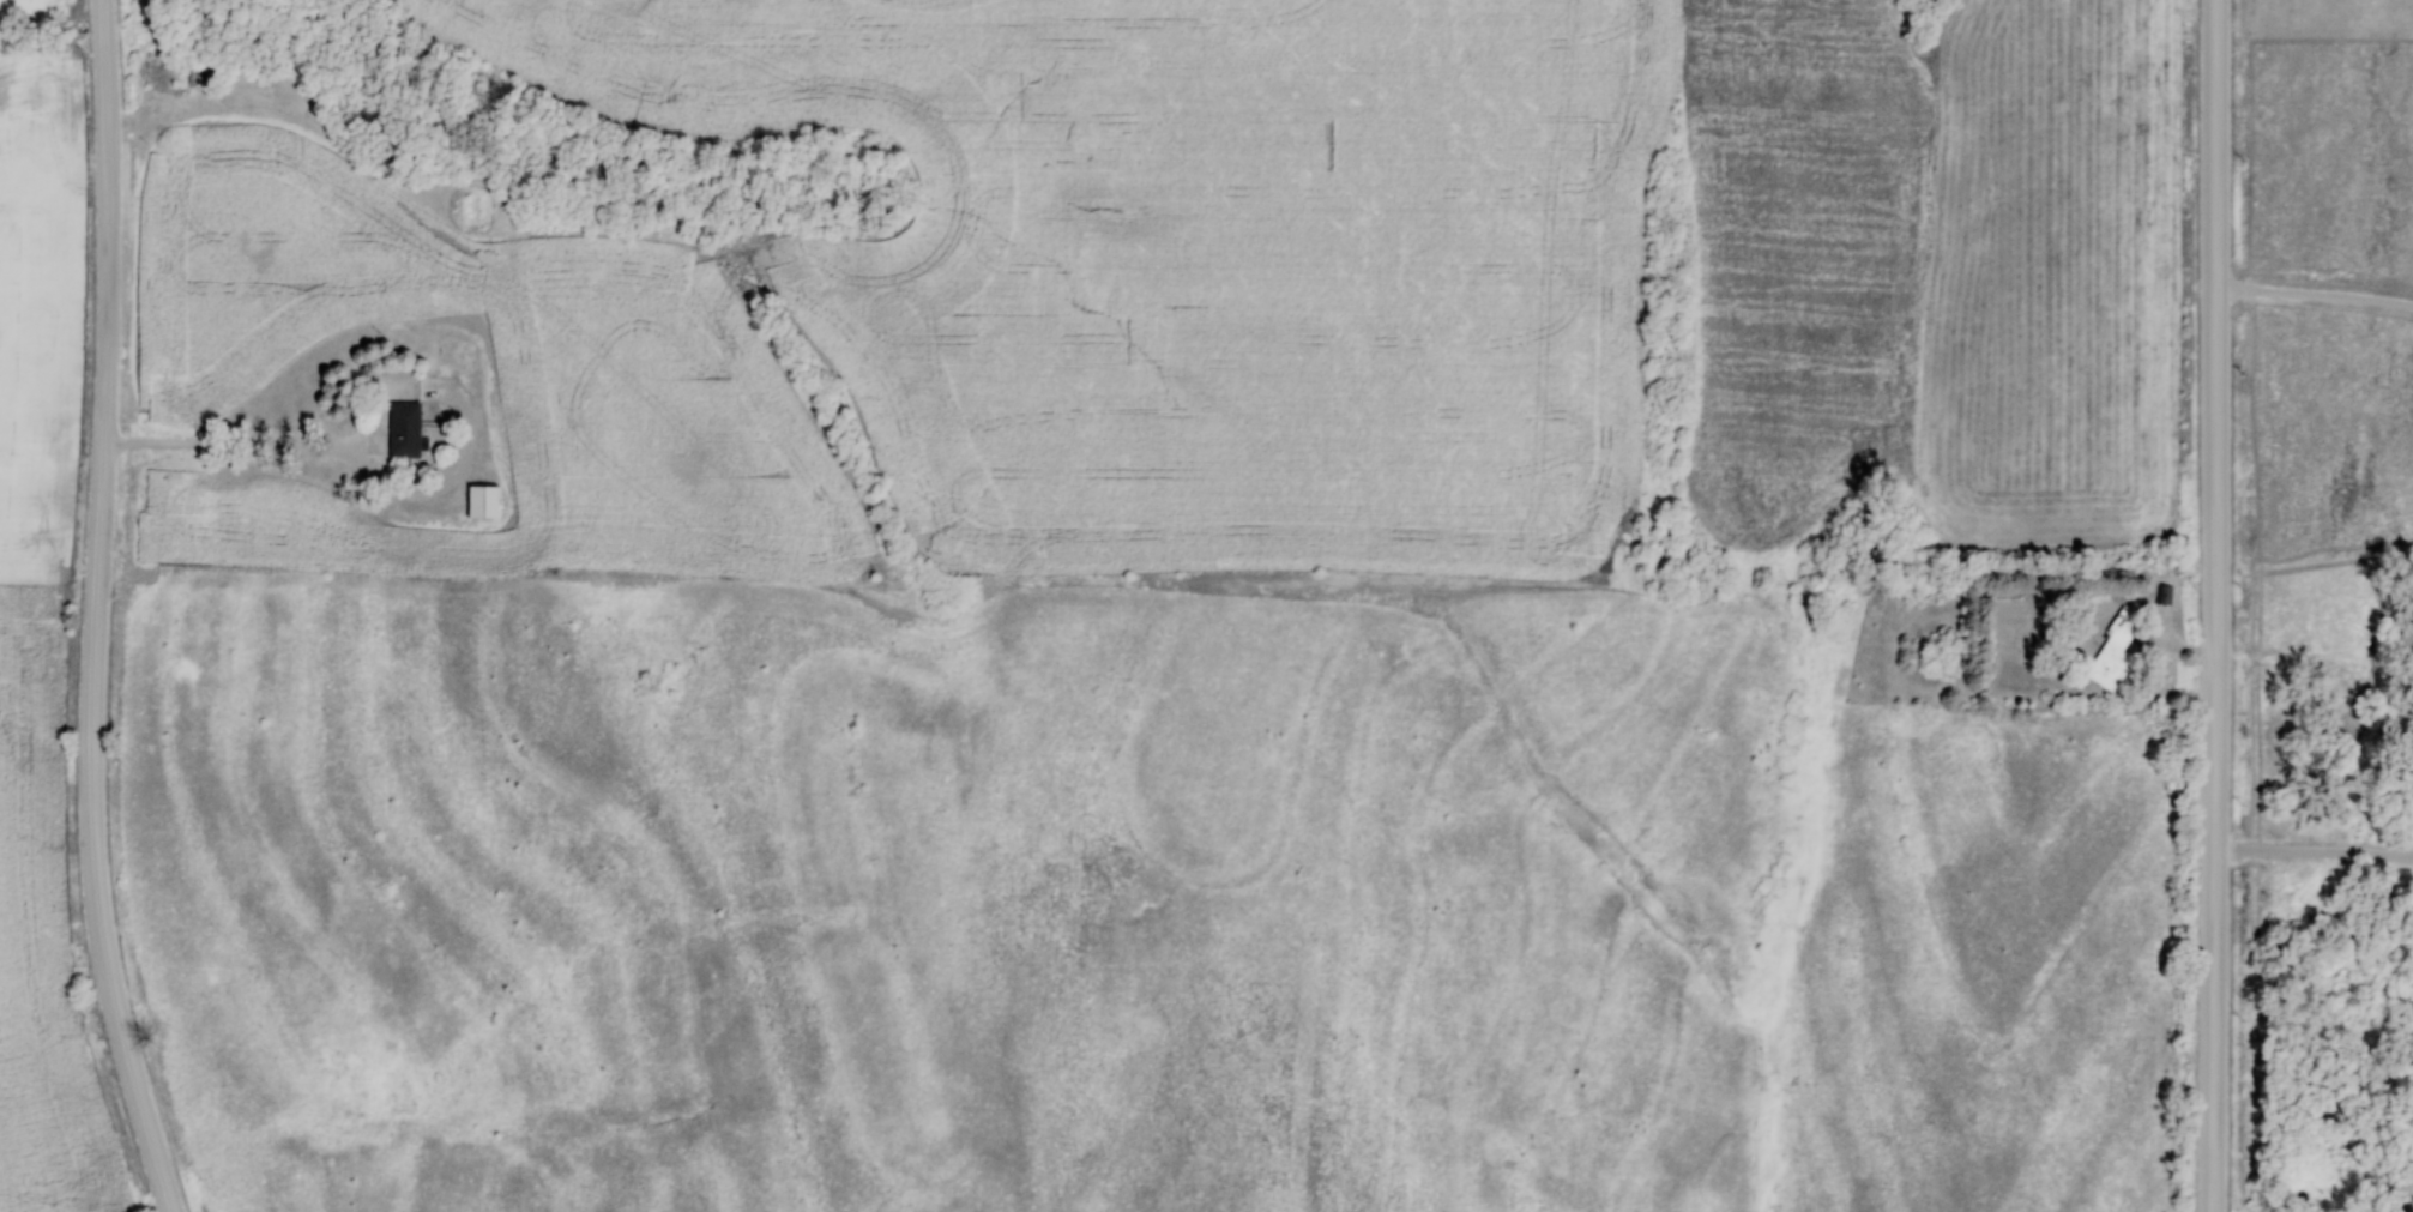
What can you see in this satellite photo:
road: (2315, 296)
building: (405, 430)
road: (342, 456)
building: (484, 502)
road: (2215, 605)
road: (98, 610)
building: (2112, 652)
road: (2314, 854)

